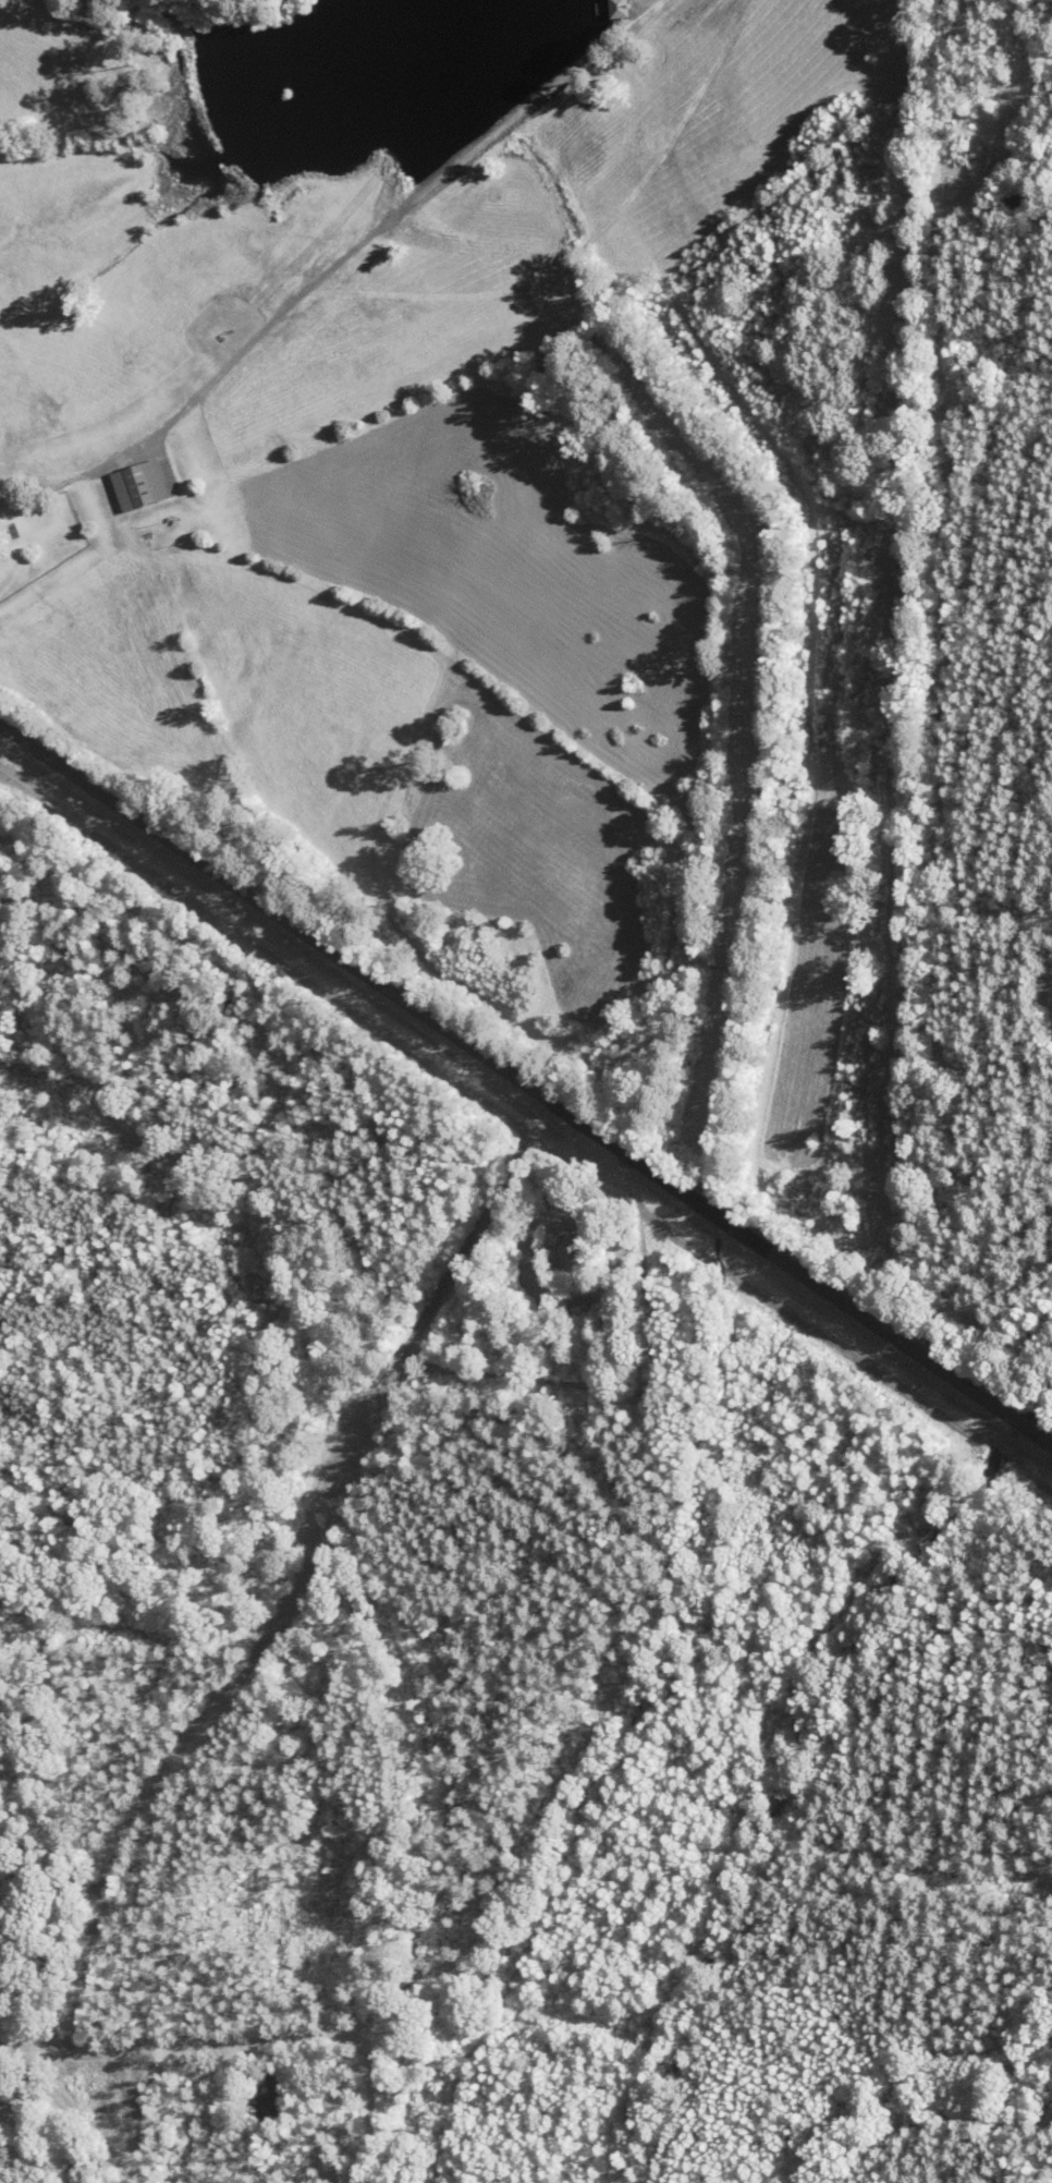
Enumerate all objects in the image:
building: (142, 485)
road: (526, 1083)
building: (571, 1253)
road: (314, 1575)
road: (7, 2055)

